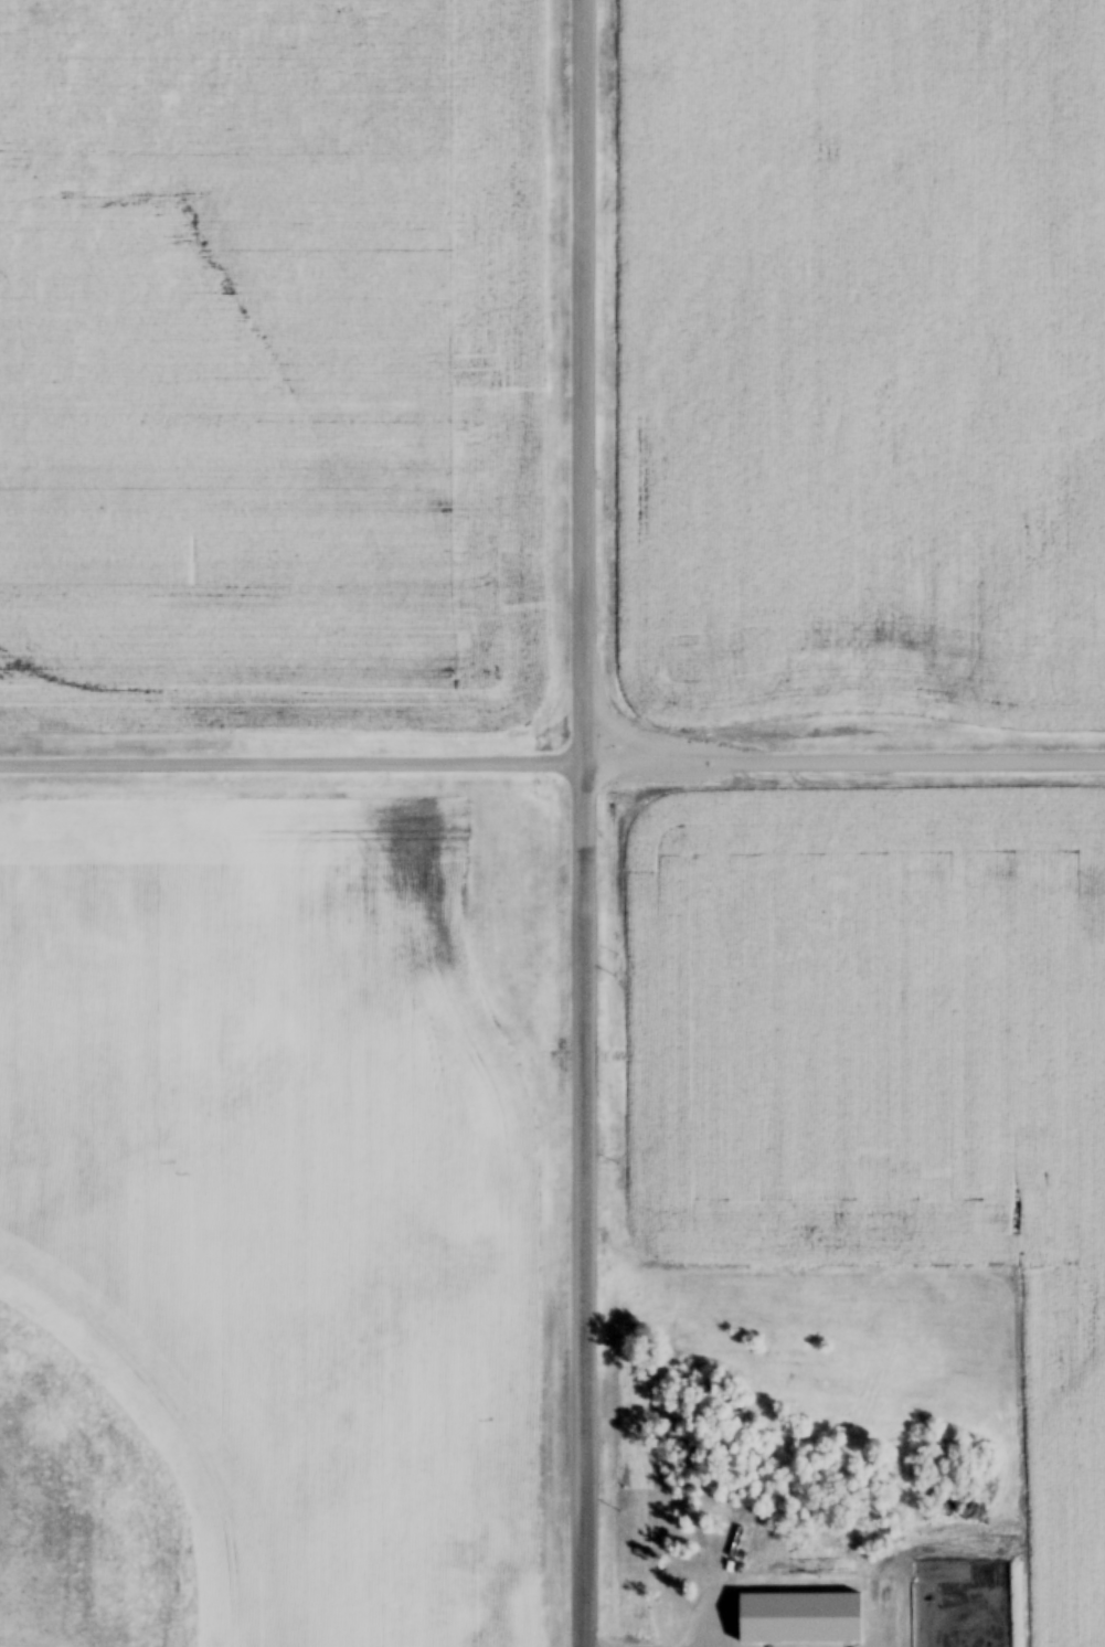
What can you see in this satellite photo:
road: (552, 756)
road: (583, 822)
building: (843, 1570)
building: (933, 1571)
building: (755, 1614)
road: (773, 1632)

